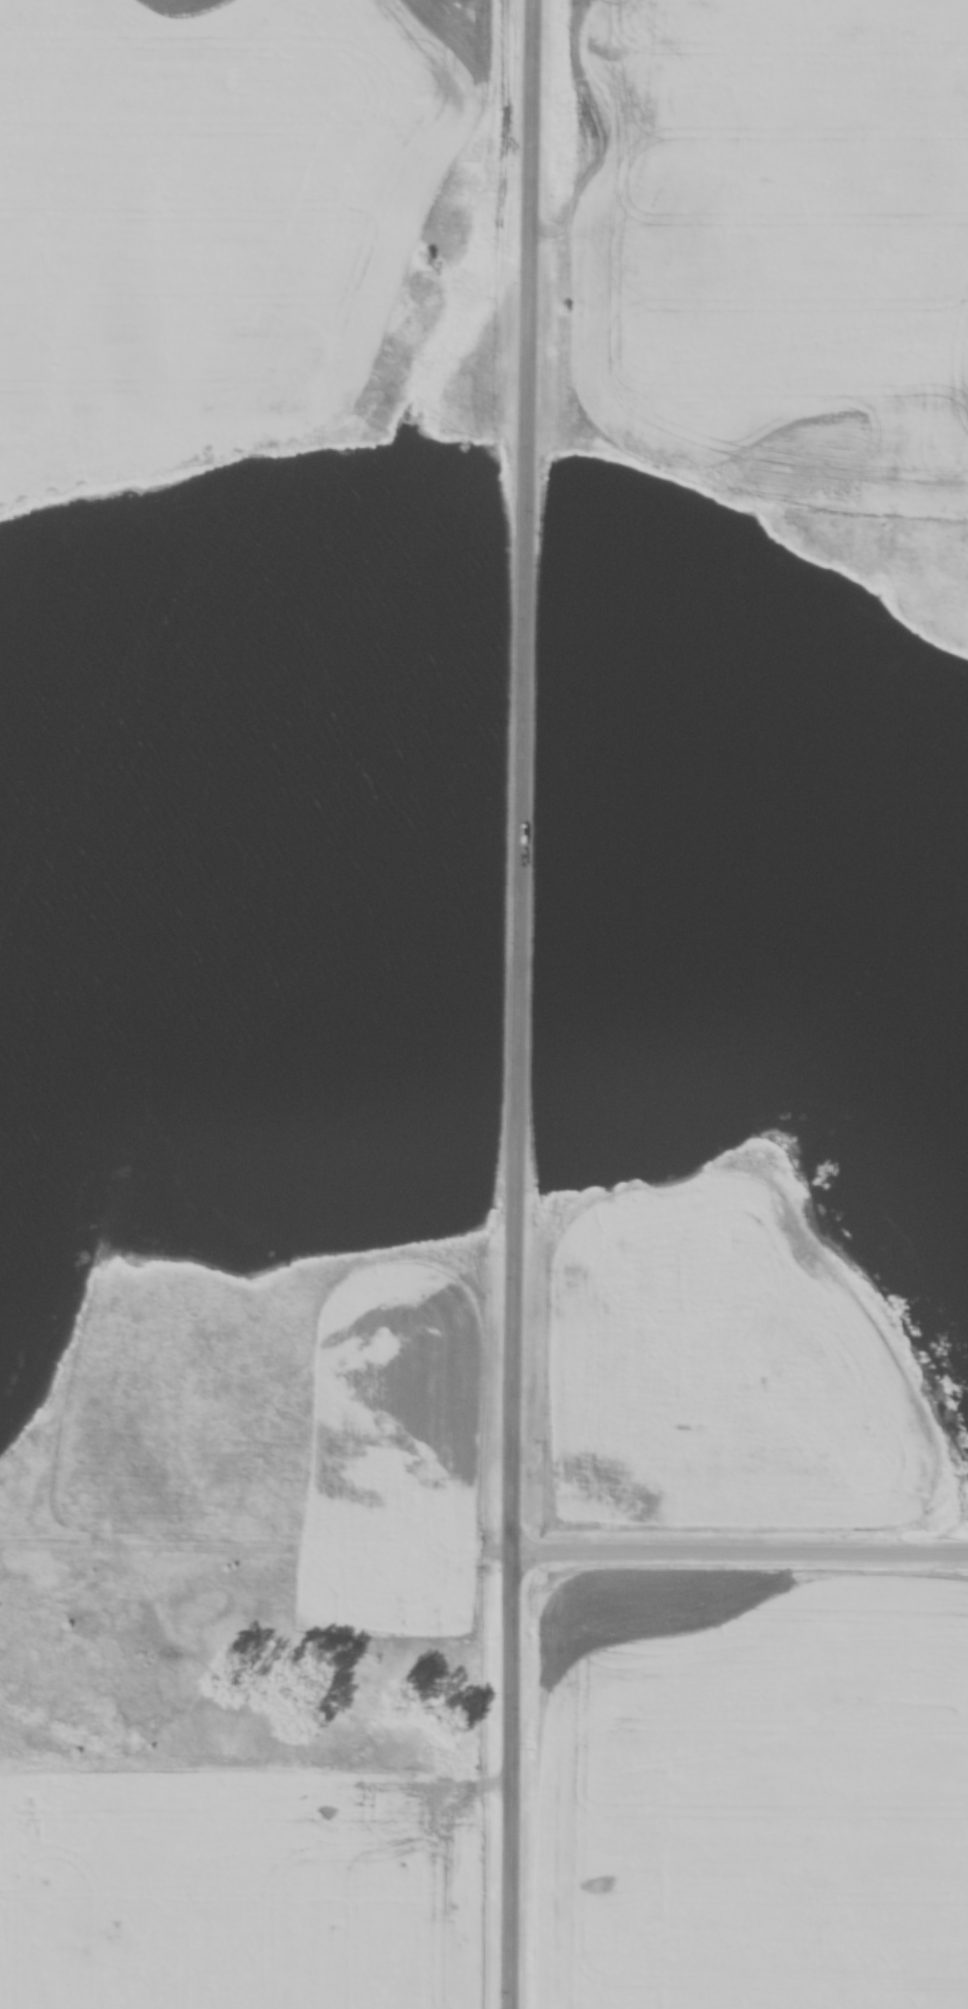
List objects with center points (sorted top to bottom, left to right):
road: (521, 1004)
road: (741, 1552)

